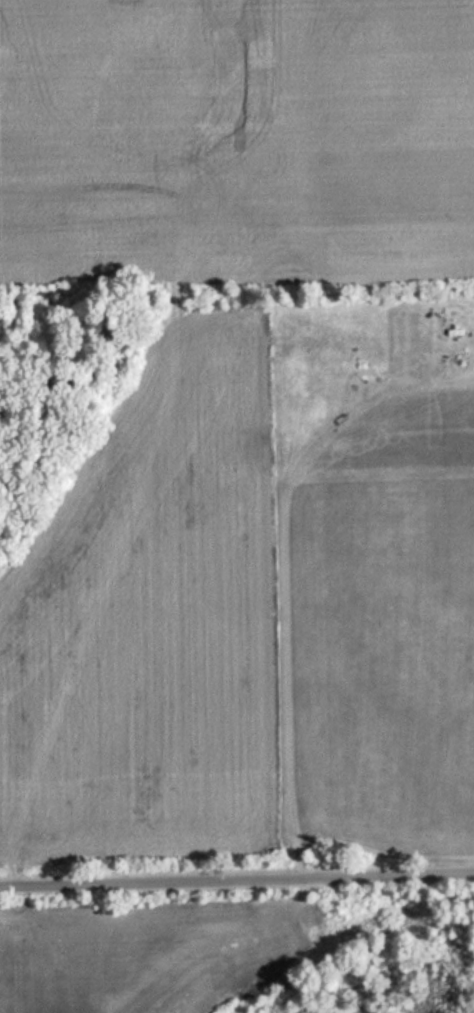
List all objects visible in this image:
road: (237, 882)

